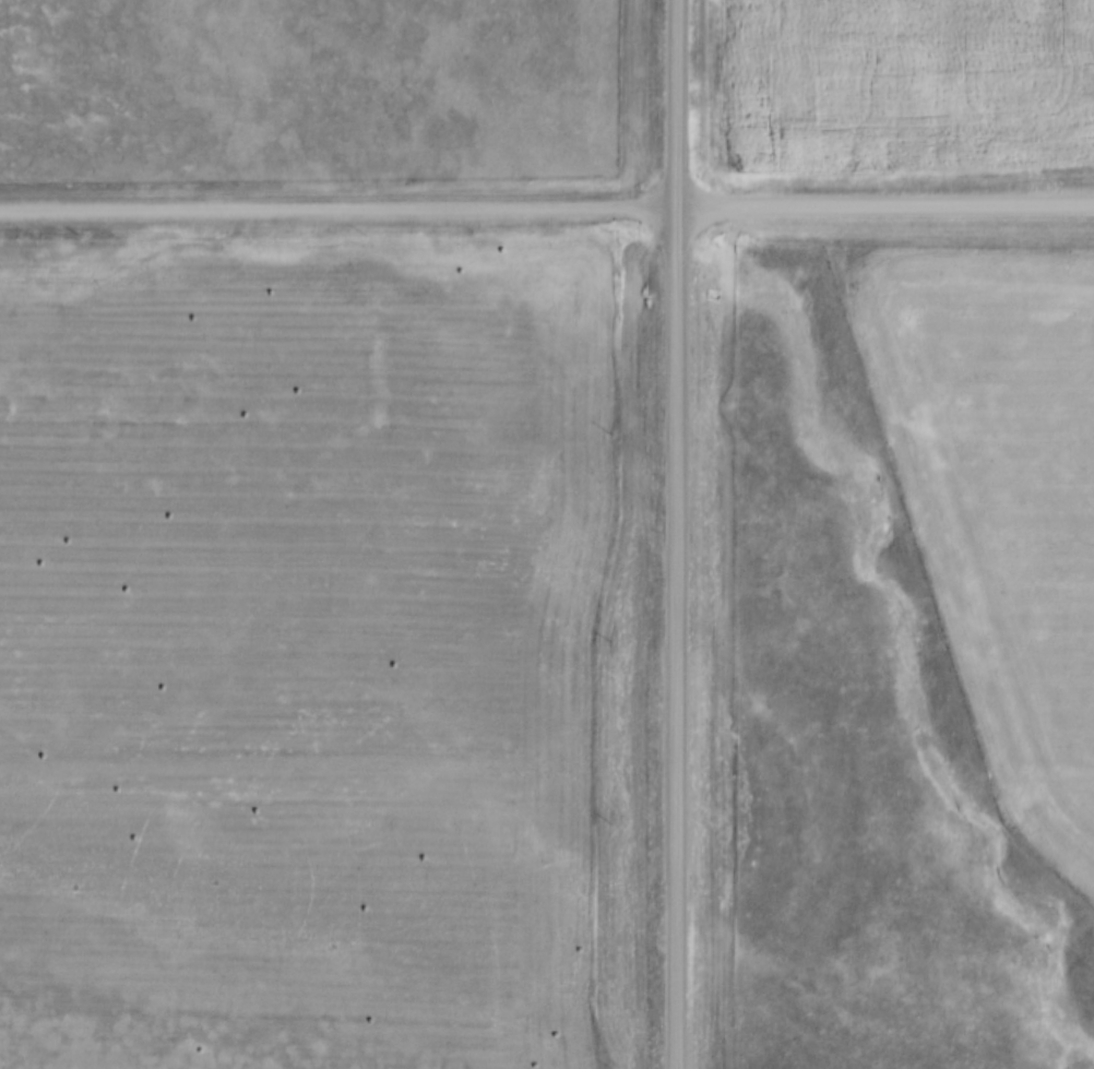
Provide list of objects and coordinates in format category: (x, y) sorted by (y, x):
road: (546, 200)
road: (680, 534)

